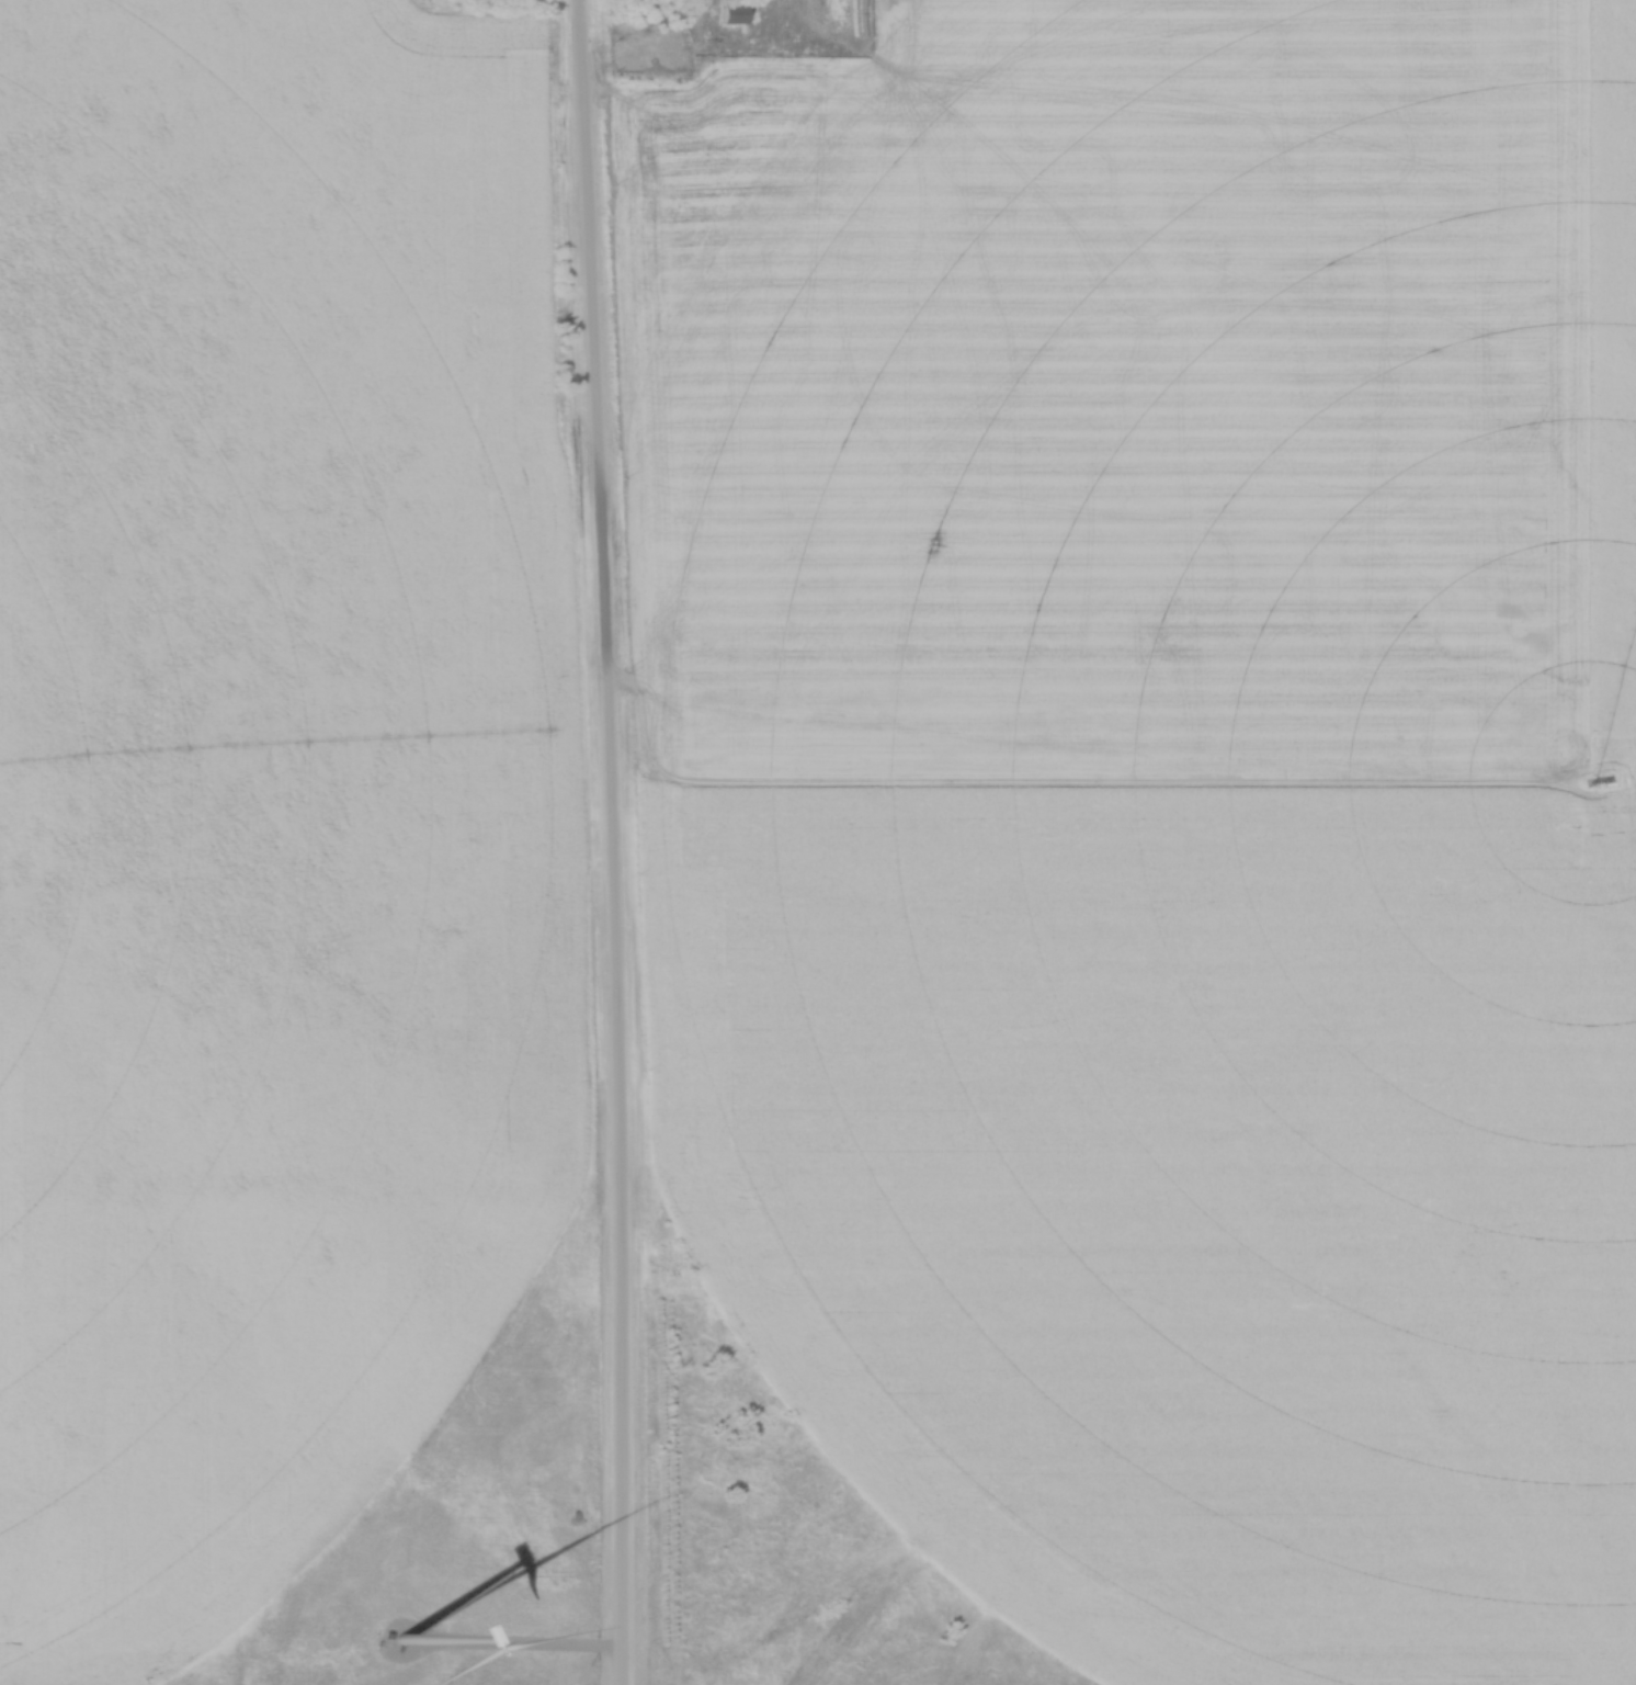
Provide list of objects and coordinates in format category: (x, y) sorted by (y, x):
road: (616, 841)
wind turbine: (400, 1639)

